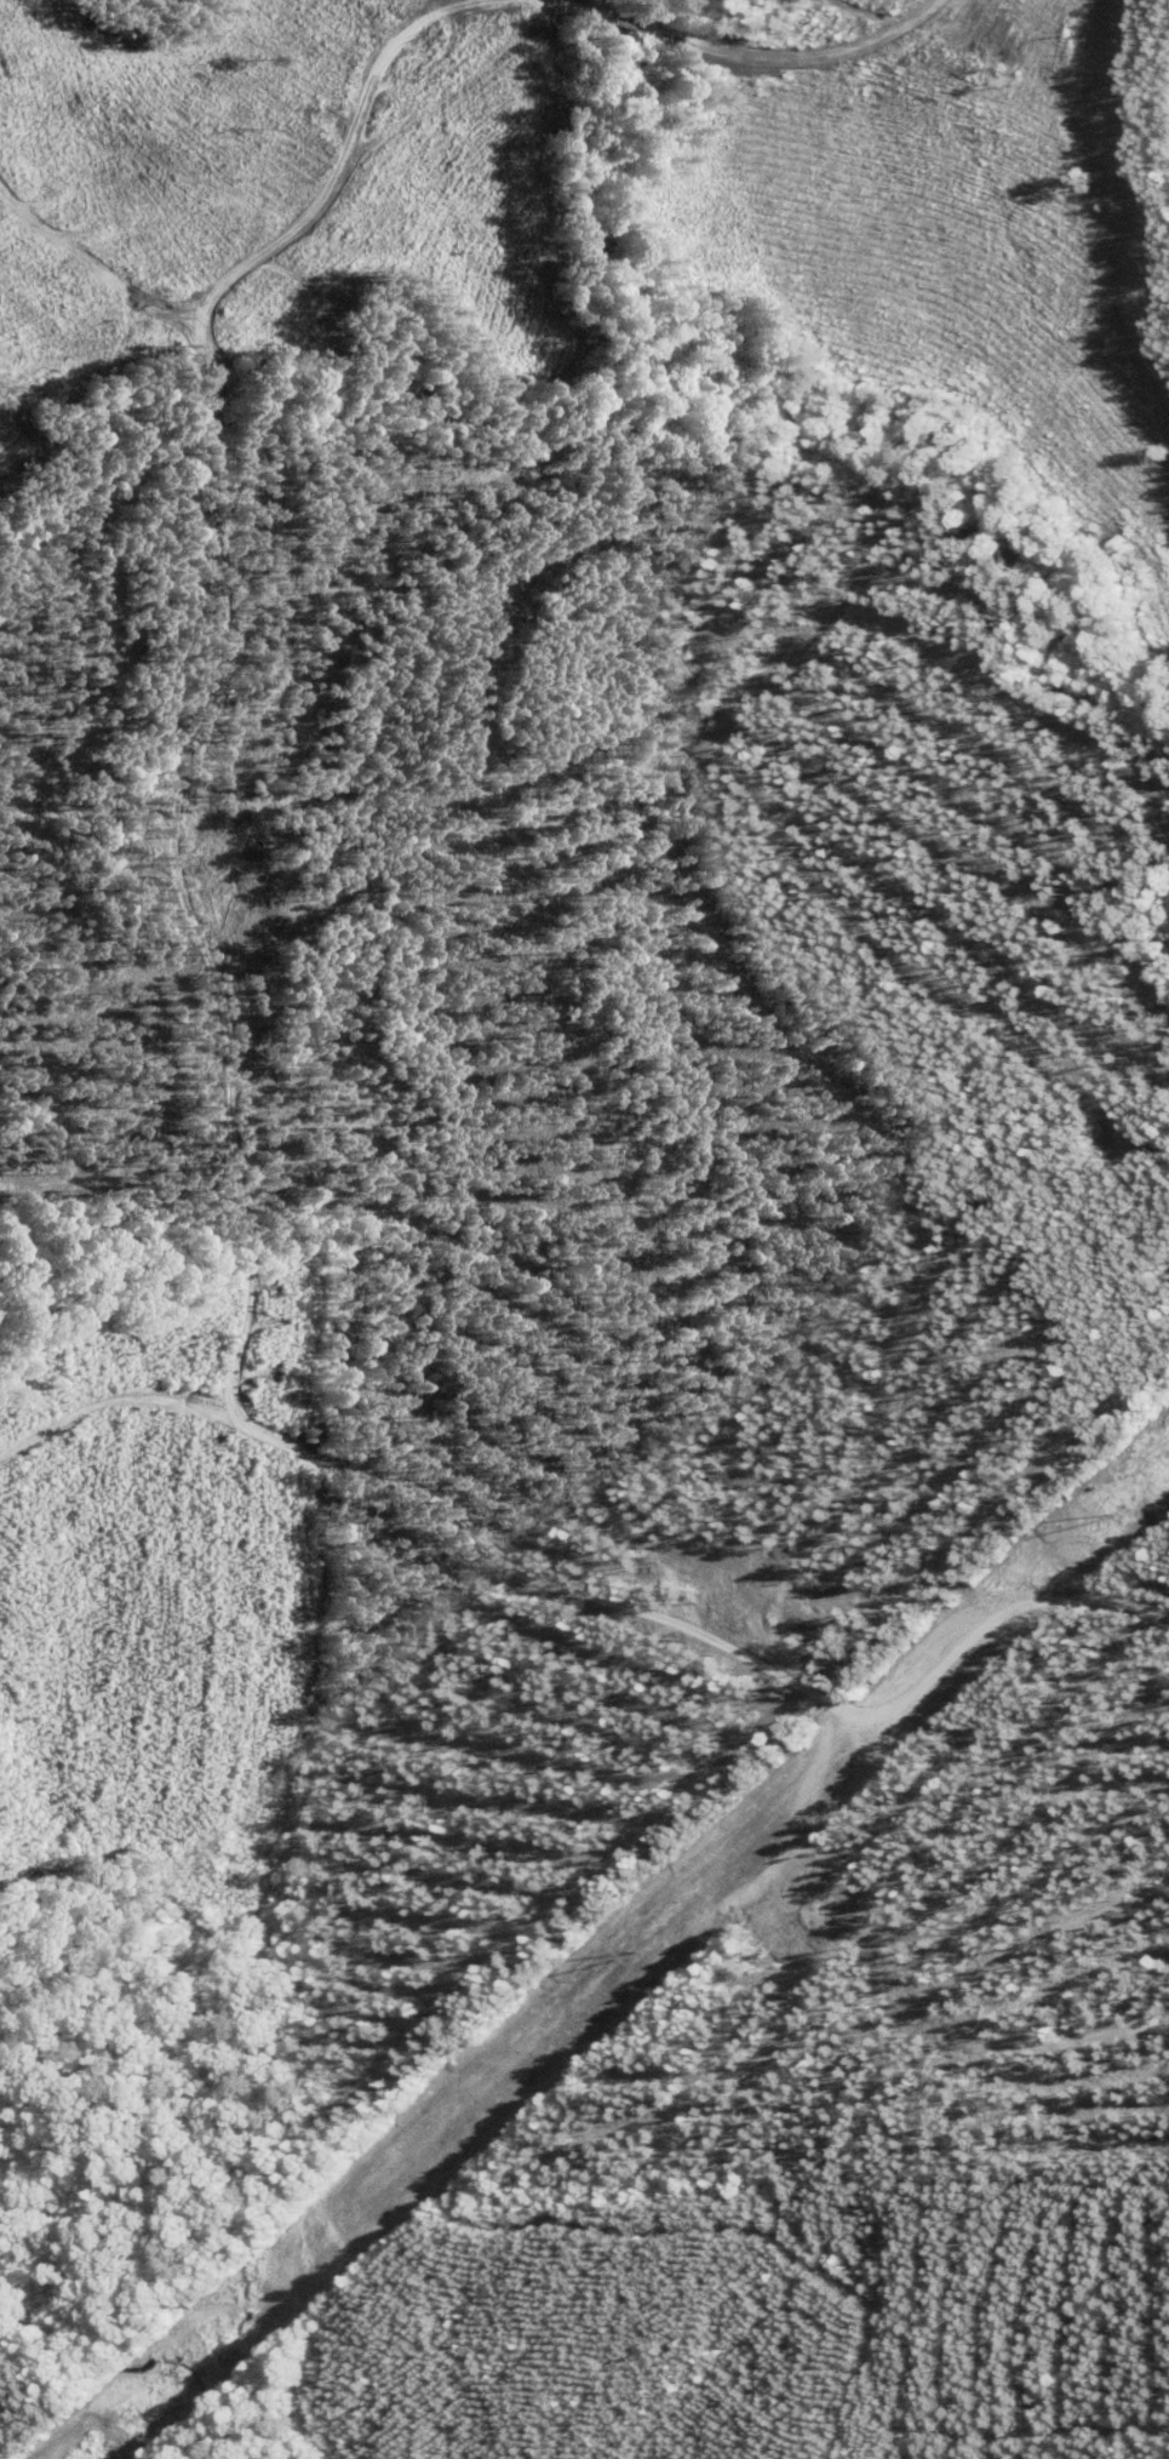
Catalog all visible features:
power tower: (1113, 1516)
power tower: (641, 1954)

